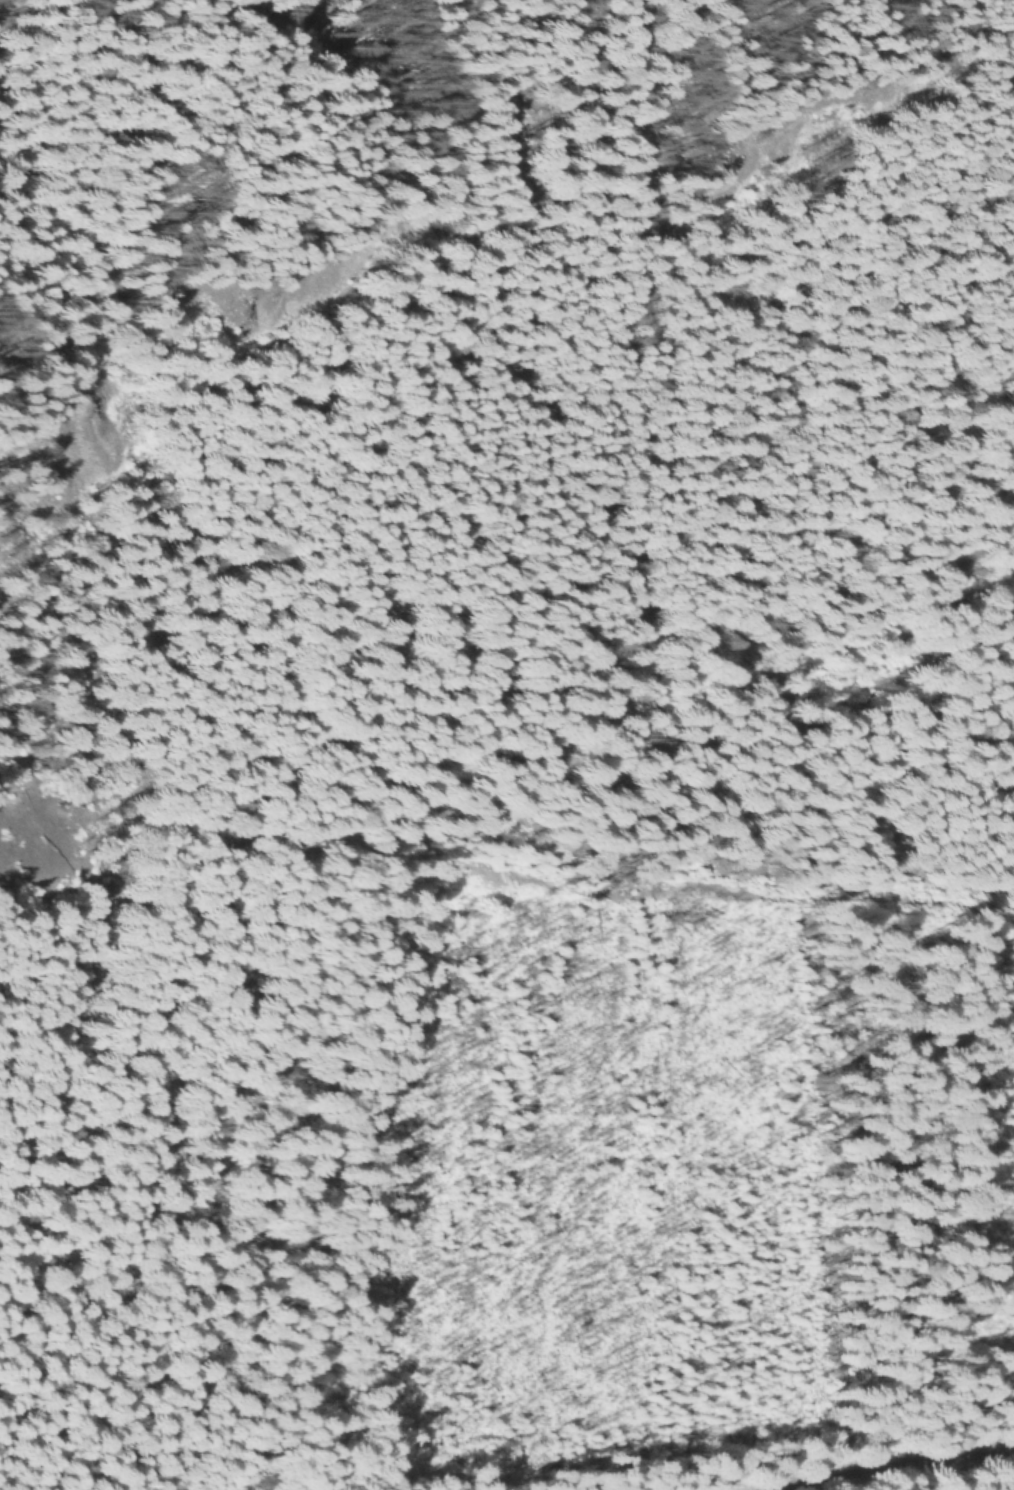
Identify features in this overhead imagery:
road: (893, 1465)

